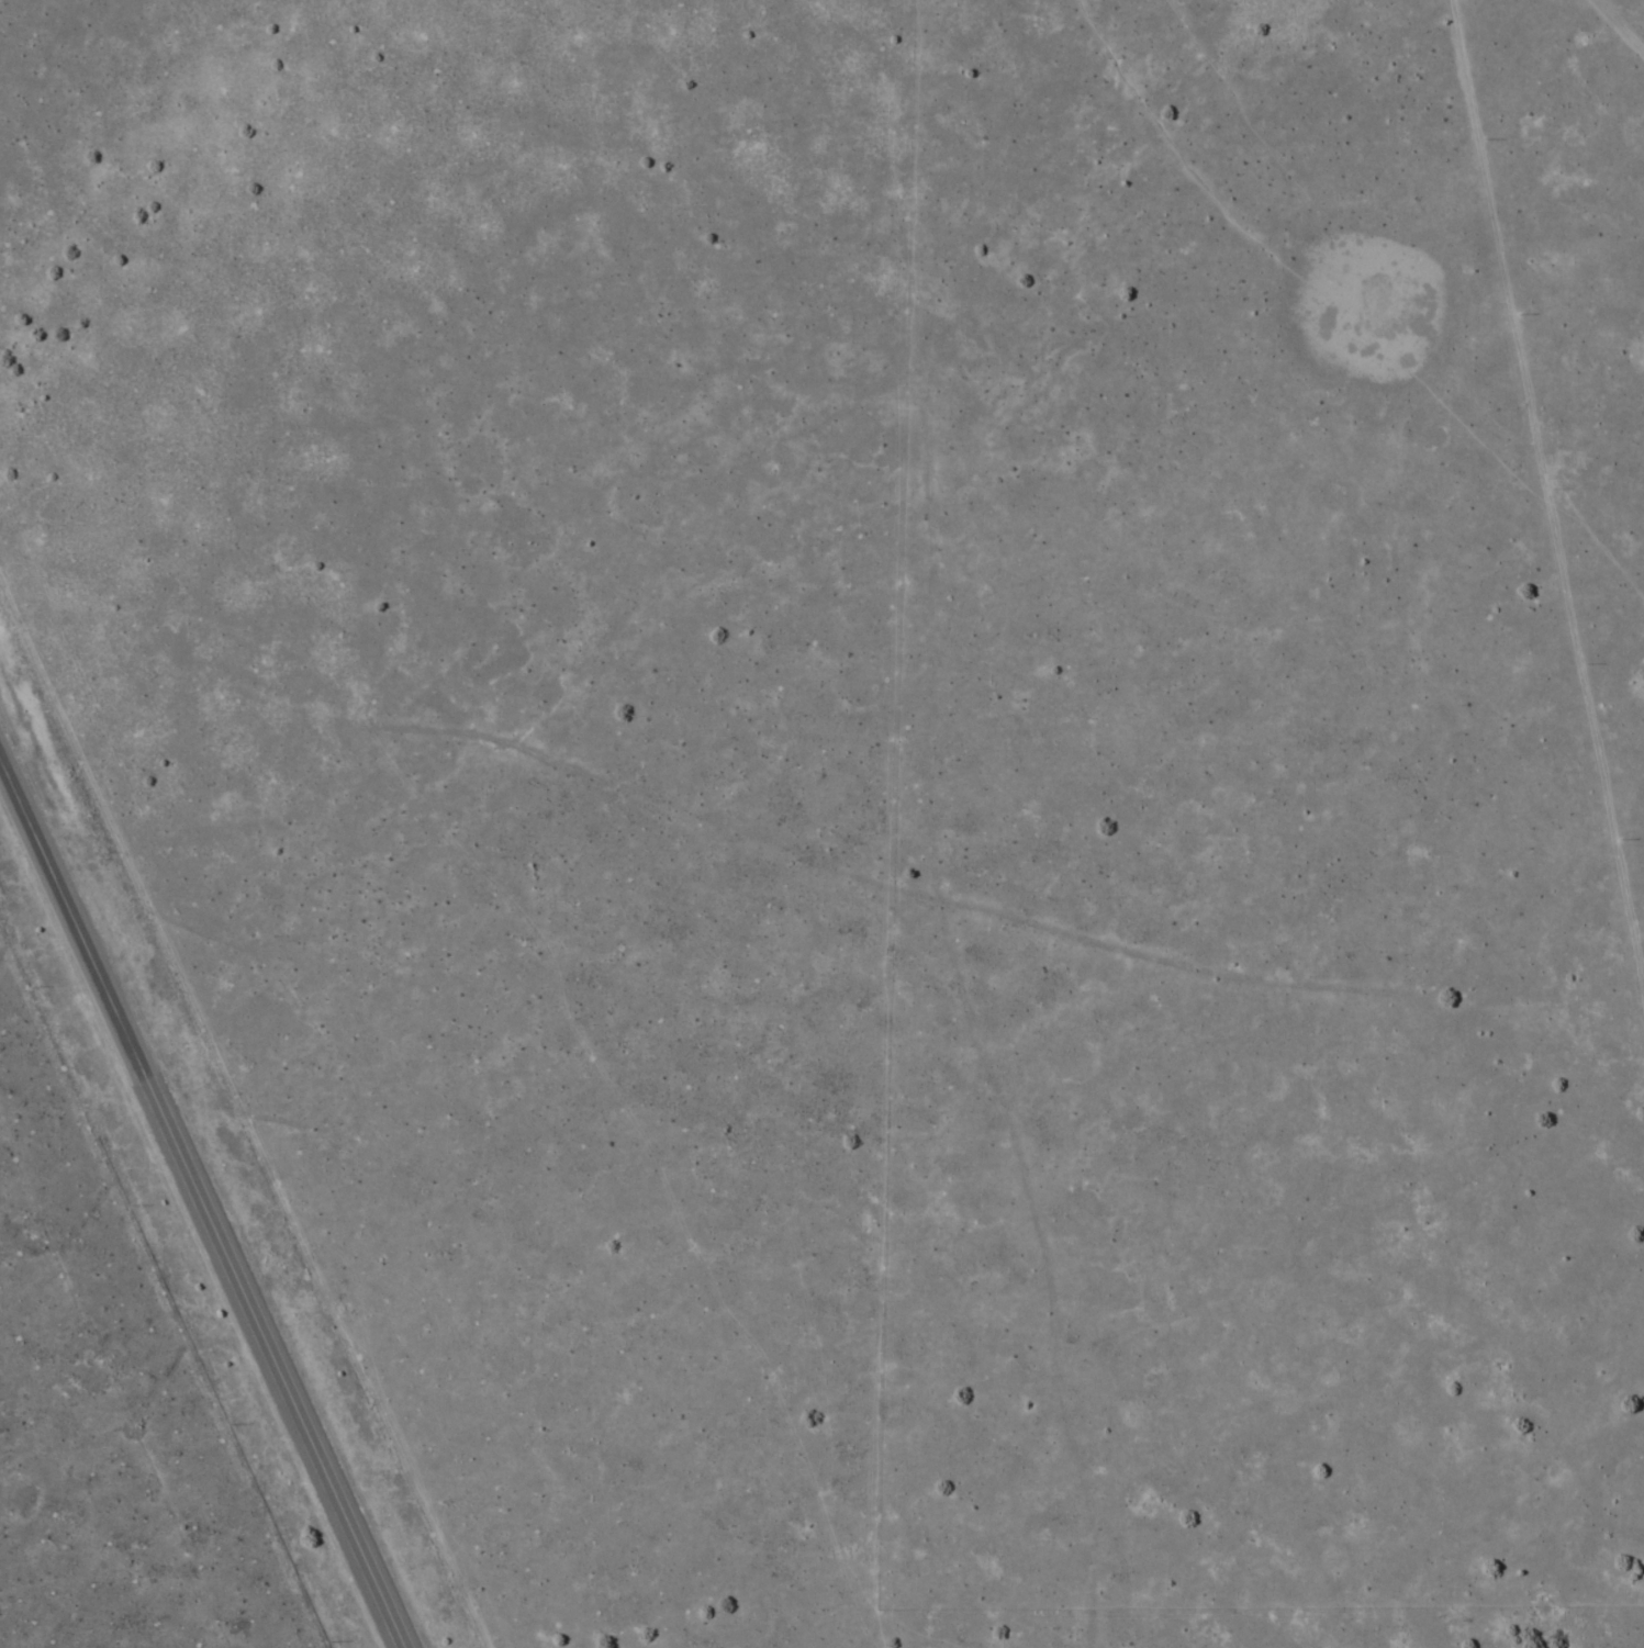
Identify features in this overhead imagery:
road: (1606, 42)
road: (200, 1209)

